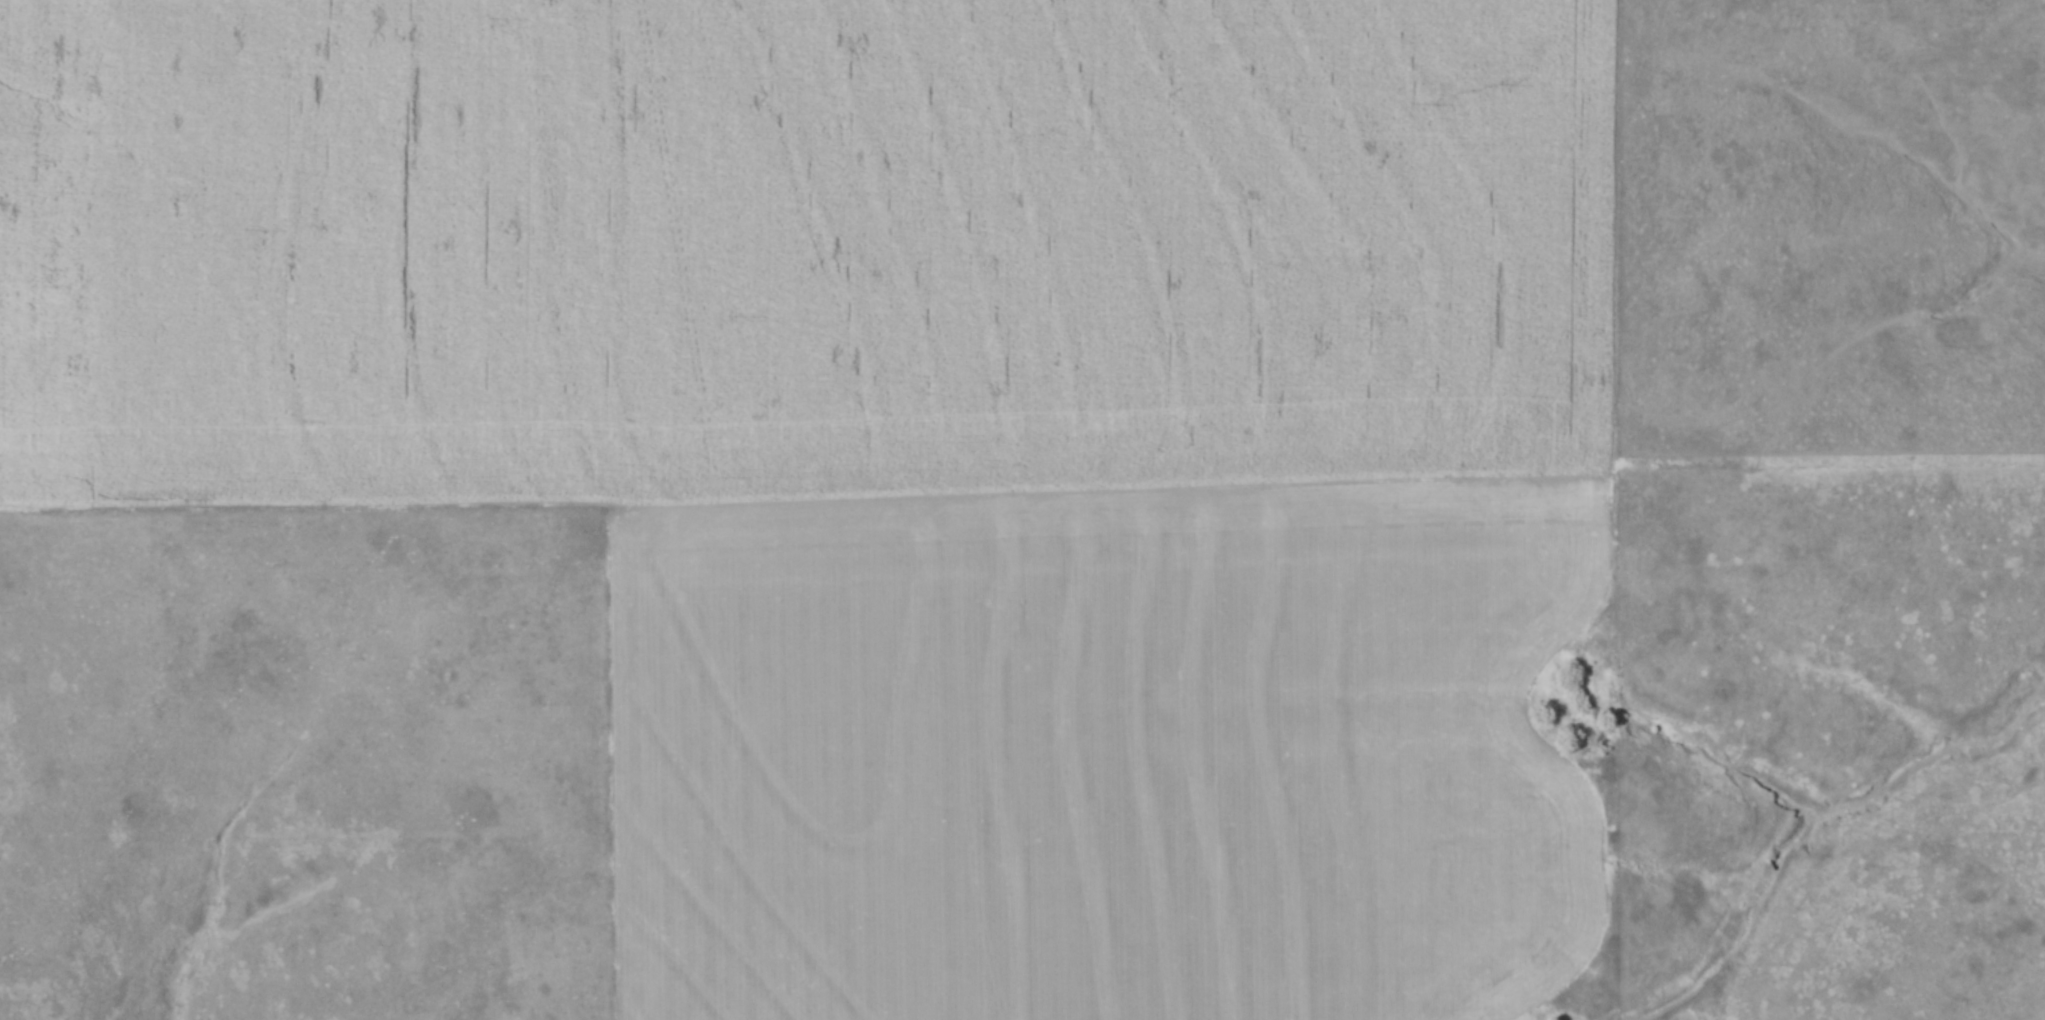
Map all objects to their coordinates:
crop: (798, 238)

